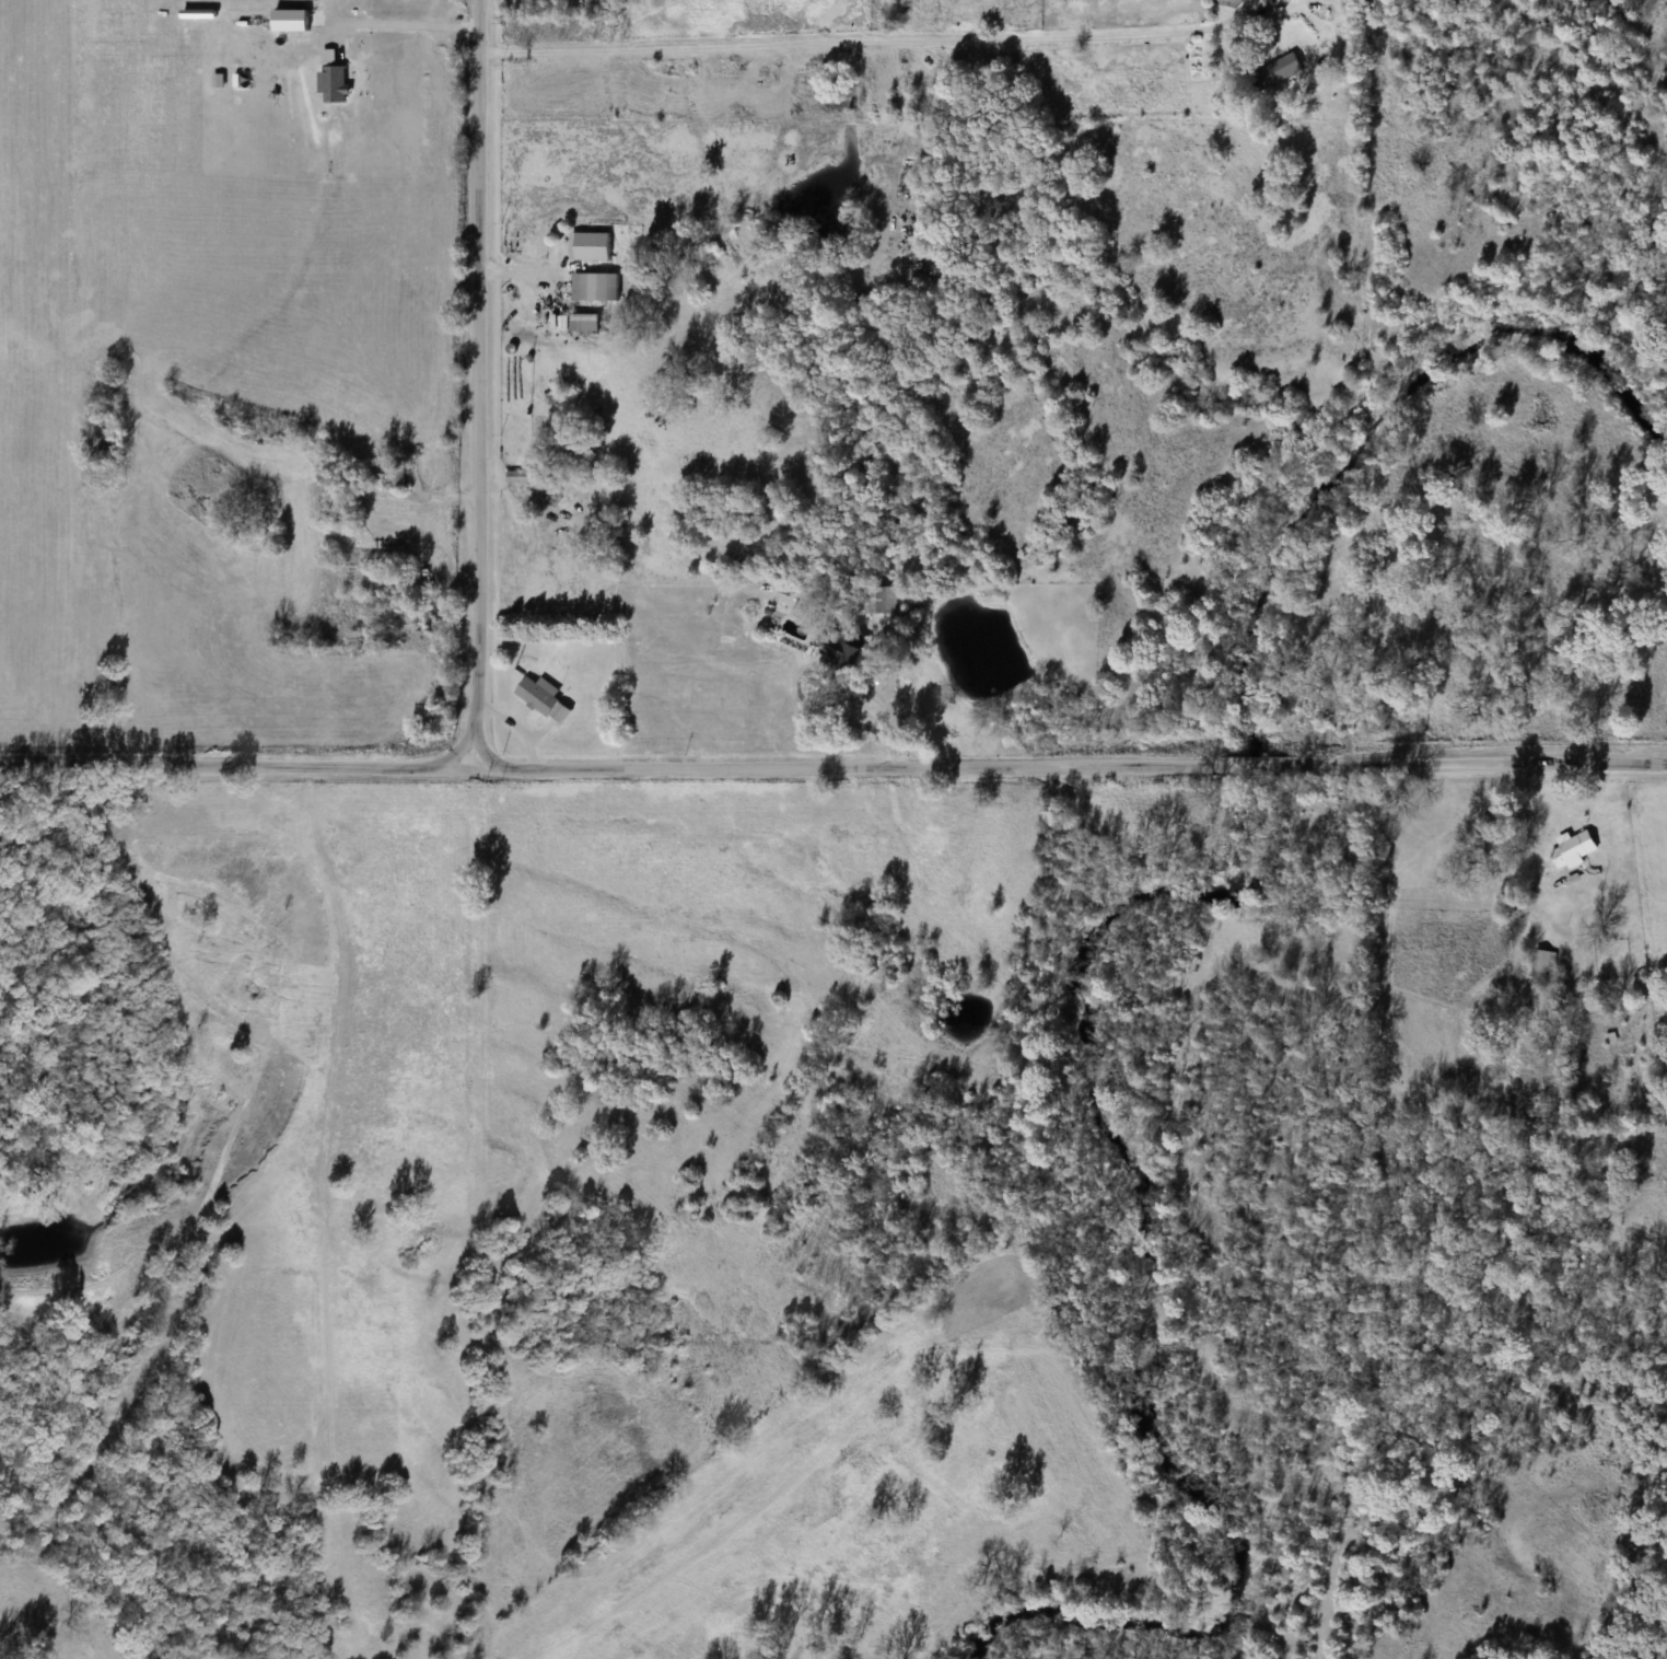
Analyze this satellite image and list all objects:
road: (882, 43)
building: (1274, 73)
building: (591, 246)
building: (599, 287)
road: (480, 386)
building: (389, 475)
building: (875, 595)
building: (842, 648)
building: (544, 698)
road: (882, 698)
road: (833, 772)
building: (1573, 851)
building: (1543, 967)

